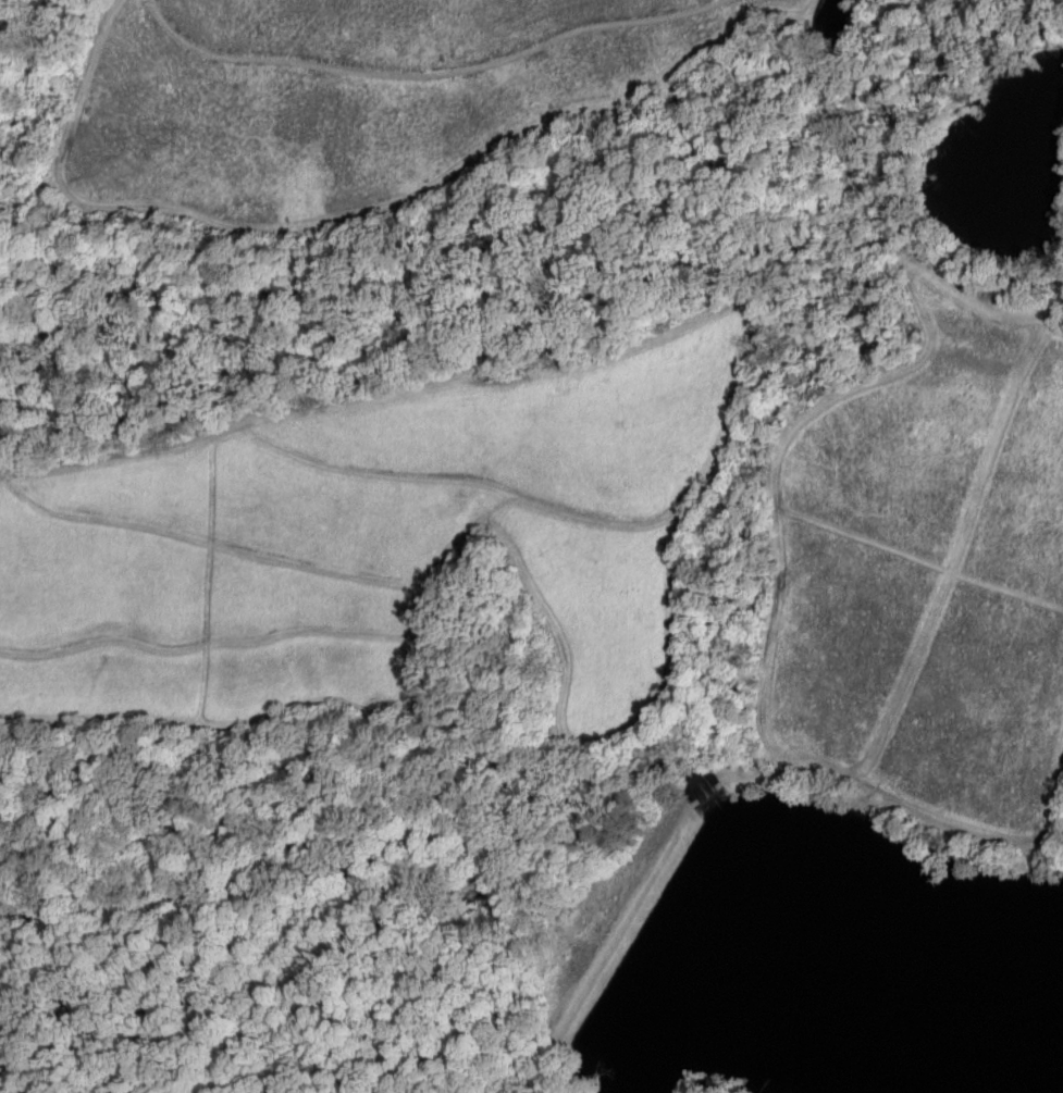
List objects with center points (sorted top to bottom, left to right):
road: (433, 72)
road: (894, 73)
road: (706, 161)
road: (912, 171)
road: (339, 191)
road: (666, 277)
road: (1055, 315)
road: (408, 388)
road: (820, 408)
road: (161, 410)
road: (471, 474)
road: (690, 524)
road: (211, 539)
road: (951, 558)
road: (917, 561)
road: (202, 580)
road: (211, 647)
road: (418, 667)
road: (193, 743)
road: (371, 806)
road: (938, 820)
road: (648, 878)
road: (541, 1068)
road: (69, 1077)

